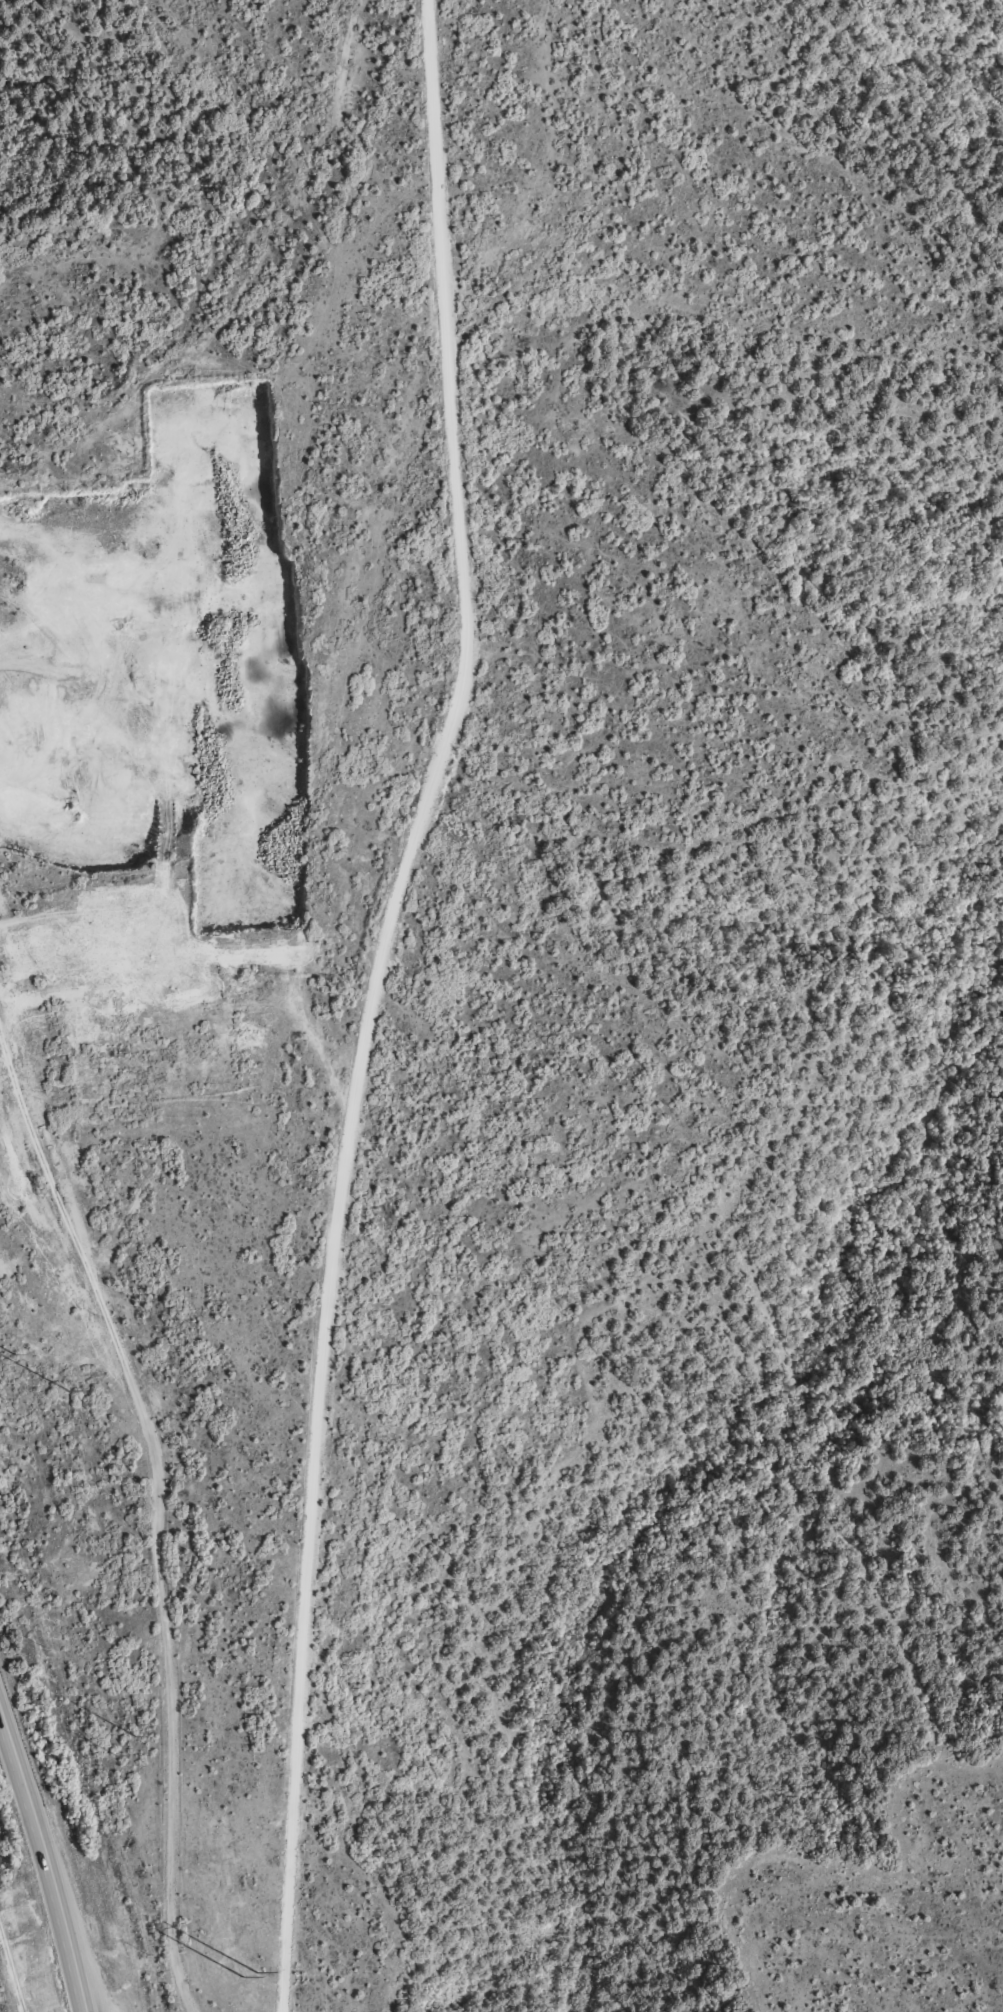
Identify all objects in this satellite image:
road: (368, 1000)
power tower: (12, 1352)
power tower: (66, 1390)
power tower: (2, 1399)
power tower: (133, 1735)
power tower: (114, 1754)
road: (45, 1860)
power tower: (248, 1974)

